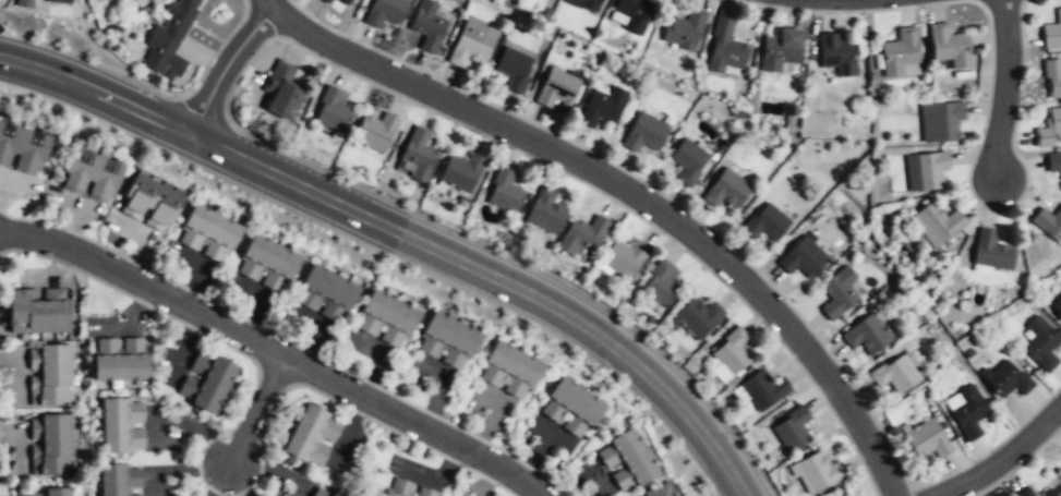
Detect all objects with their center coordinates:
building: (60, 1)
building: (325, 1)
building: (343, 1)
building: (24, 3)
road: (269, 4)
building: (587, 4)
street lamp: (926, 8)
building: (385, 11)
building: (634, 14)
building: (429, 25)
building: (684, 32)
building: (1052, 32)
building: (170, 39)
building: (472, 41)
building: (950, 44)
building: (725, 48)
building: (901, 50)
building: (780, 51)
building: (837, 52)
street lamp: (1026, 53)
road: (225, 66)
building: (514, 68)
building: (1051, 77)
street lamp: (136, 78)
road: (1004, 87)
street lamp: (5, 88)
building: (279, 88)
building: (556, 88)
road: (96, 90)
street lamp: (409, 105)
building: (603, 106)
building: (331, 109)
building: (941, 120)
building: (1048, 128)
building: (375, 130)
building: (644, 132)
building: (22, 147)
street lamp: (286, 148)
building: (419, 155)
building: (688, 160)
street lamp: (181, 164)
building: (1053, 164)
building: (931, 169)
building: (461, 171)
building: (88, 174)
building: (727, 189)
building: (504, 192)
road: (634, 193)
building: (148, 202)
street lamp: (1014, 207)
building: (545, 211)
building: (937, 221)
building: (767, 222)
building: (1048, 222)
street lamp: (461, 231)
building: (206, 234)
building: (586, 234)
street lamp: (366, 250)
building: (992, 251)
building: (804, 257)
building: (625, 258)
building: (265, 265)
road: (495, 277)
building: (661, 285)
building: (839, 291)
building: (324, 295)
street lamp: (737, 302)
building: (1057, 304)
building: (38, 311)
street lamp: (612, 313)
building: (697, 317)
building: (384, 320)
building: (867, 334)
building: (446, 342)
building: (1042, 343)
road: (275, 350)
building: (732, 352)
building: (119, 360)
street lamp: (595, 370)
building: (508, 371)
building: (895, 374)
building: (49, 375)
building: (1009, 378)
building: (205, 383)
building: (762, 388)
building: (569, 408)
road: (257, 410)
building: (969, 411)
building: (122, 426)
building: (792, 428)
street lamp: (737, 434)
building: (312, 436)
building: (928, 438)
building: (50, 445)
road: (1001, 458)
building: (625, 462)
street lamp: (860, 470)
building: (817, 473)
building: (1060, 473)
building: (120, 480)
building: (397, 488)
building: (50, 492)
building: (423, 492)
building: (661, 492)
building: (1023, 492)
building: (321, 493)
building: (1046, 493)

